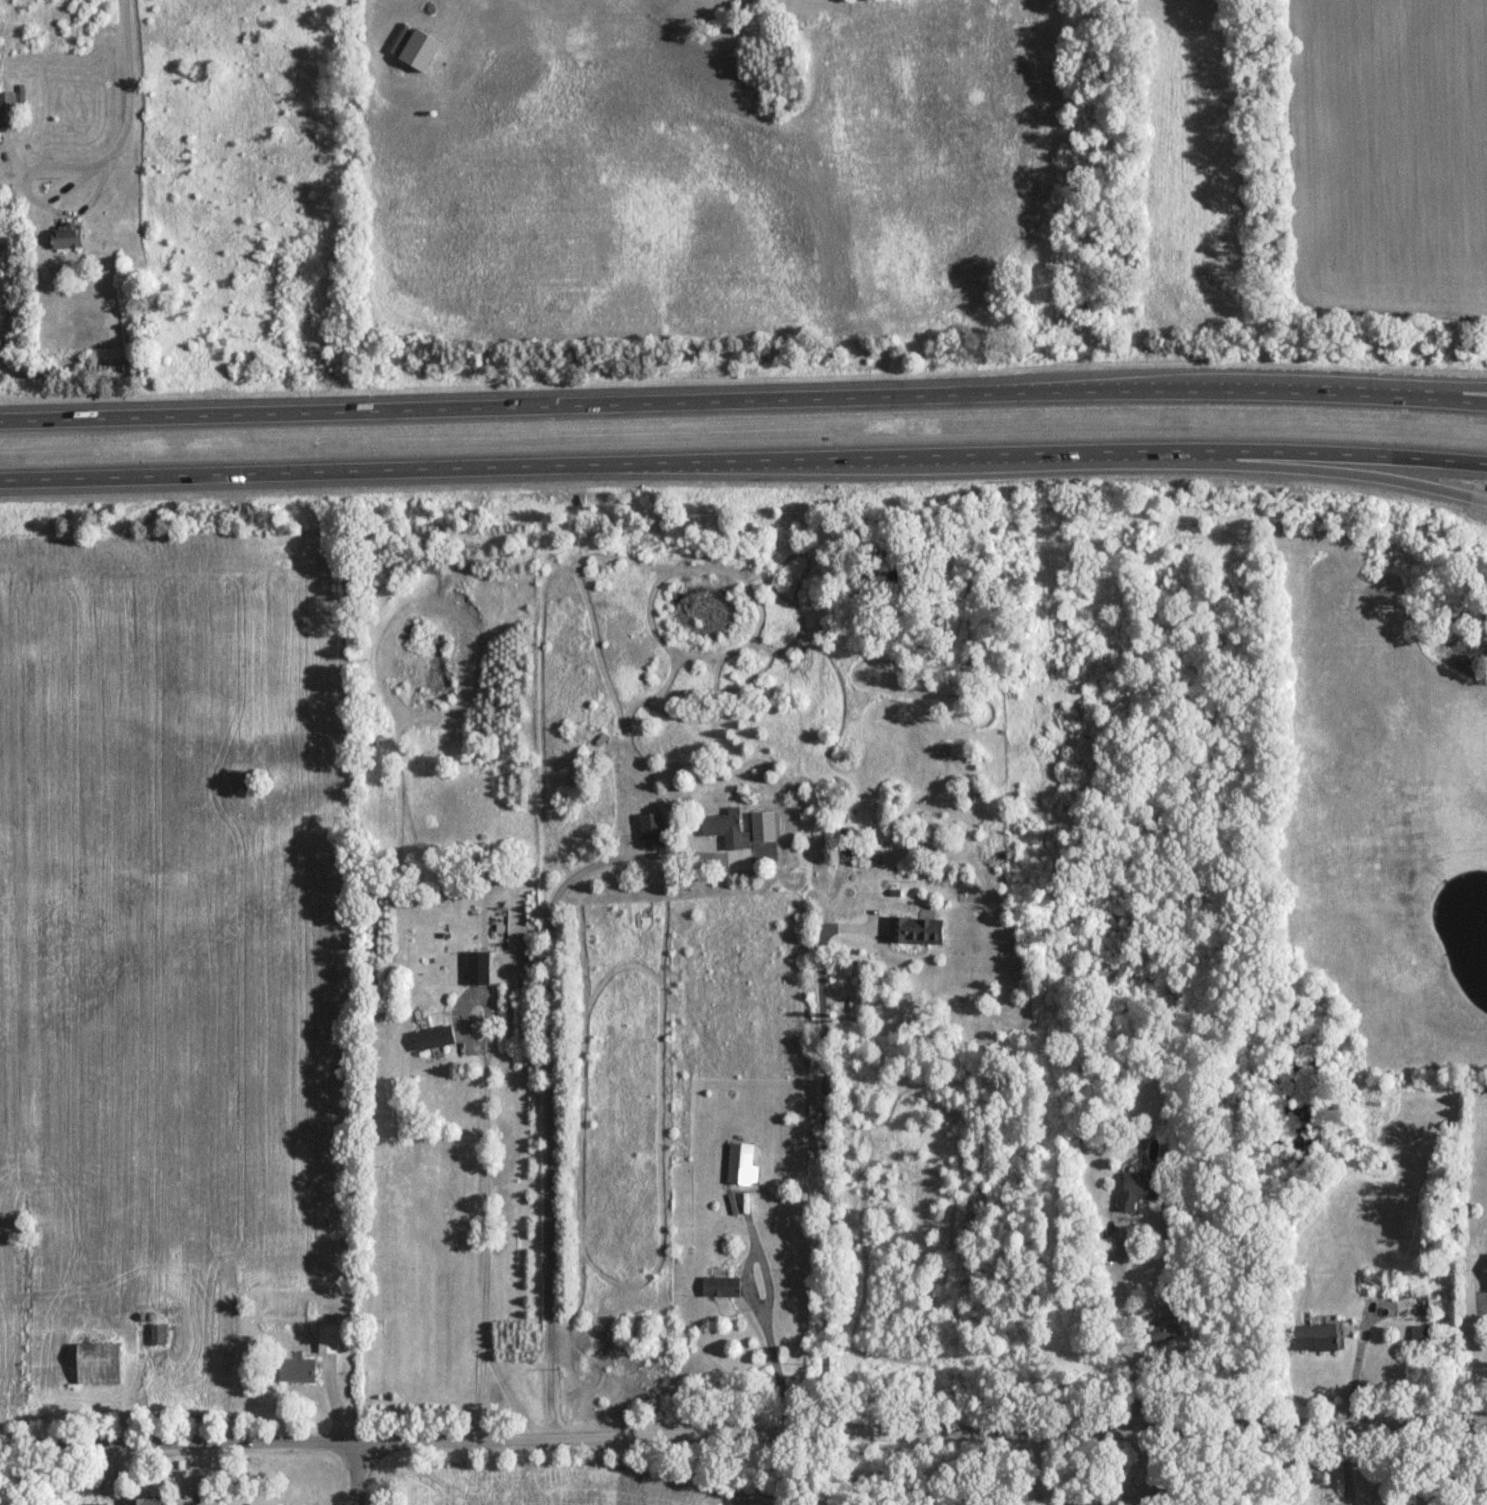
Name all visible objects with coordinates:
building: (420, 49)
road: (129, 85)
building: (7, 110)
crop: (1388, 158)
road: (30, 198)
building: (65, 237)
road: (1420, 390)
road: (743, 400)
road: (743, 460)
road: (1315, 470)
building: (723, 826)
building: (652, 829)
building: (843, 845)
building: (862, 851)
crop: (169, 913)
building: (915, 929)
building: (478, 968)
building: (432, 1037)
road: (548, 1073)
road: (824, 1150)
building: (740, 1164)
building: (1136, 1189)
road: (484, 1219)
building: (1486, 1274)
building: (718, 1287)
road: (767, 1298)
building: (1409, 1304)
road: (1126, 1327)
building: (1419, 1334)
building: (1313, 1337)
building: (325, 1338)
building: (98, 1357)
building: (295, 1369)
road: (743, 1425)
road: (359, 1471)
crop: (556, 1487)
building: (1135, 1496)
building: (145, 1501)
building: (93, 1502)

